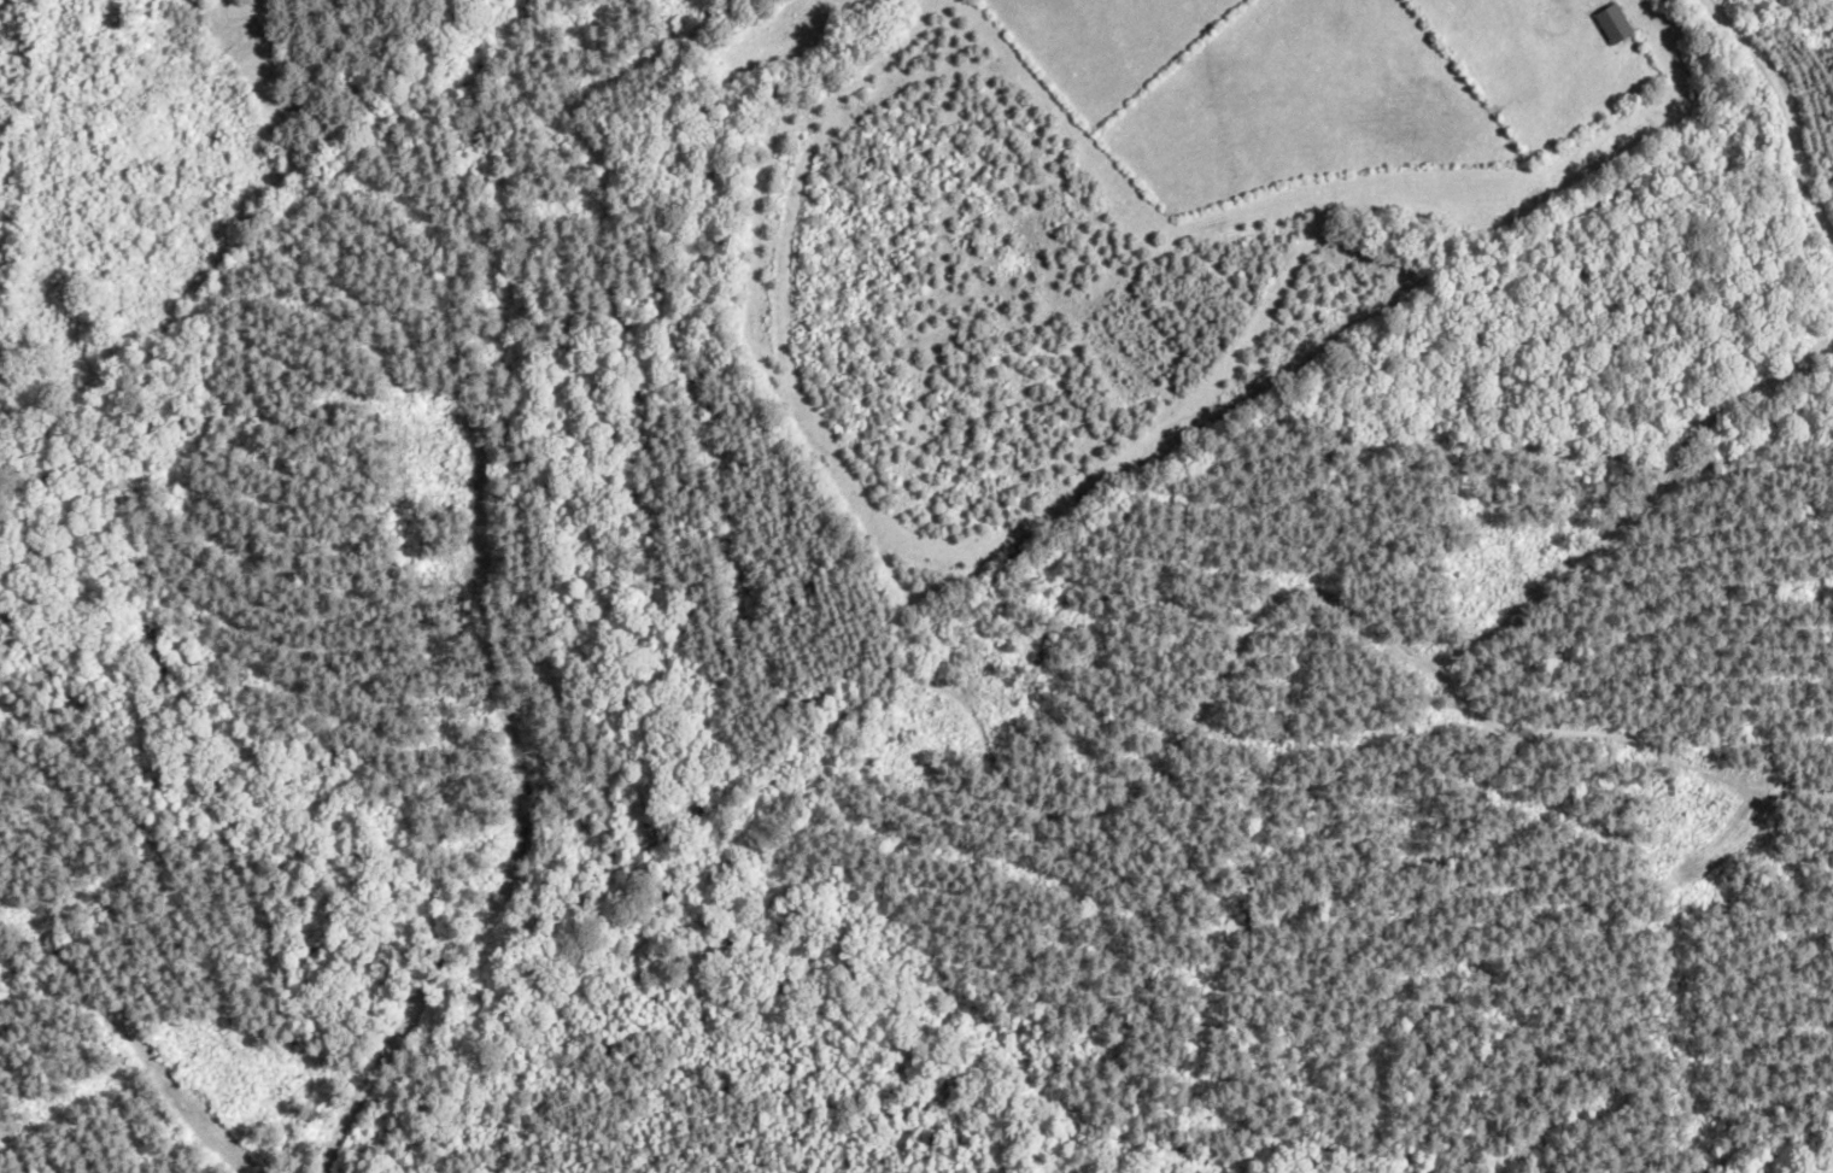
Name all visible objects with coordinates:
building: (1617, 28)
road: (732, 798)

